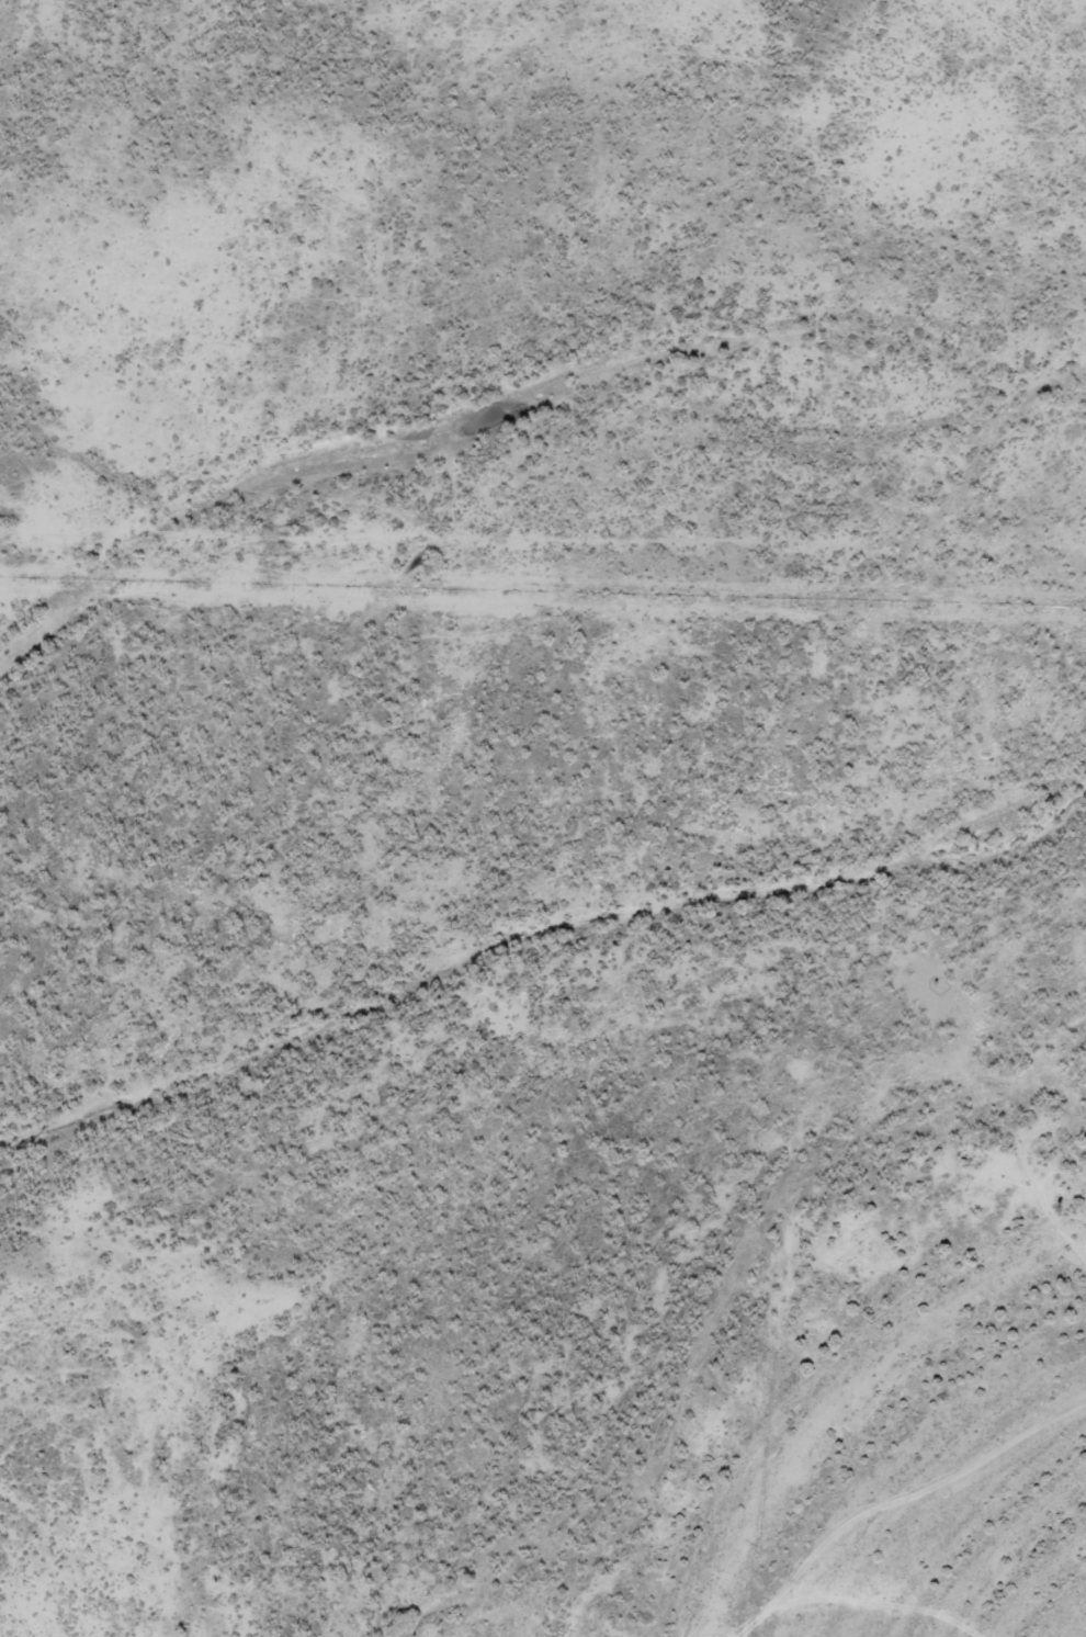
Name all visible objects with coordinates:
road: (913, 1516)
road: (902, 1590)

